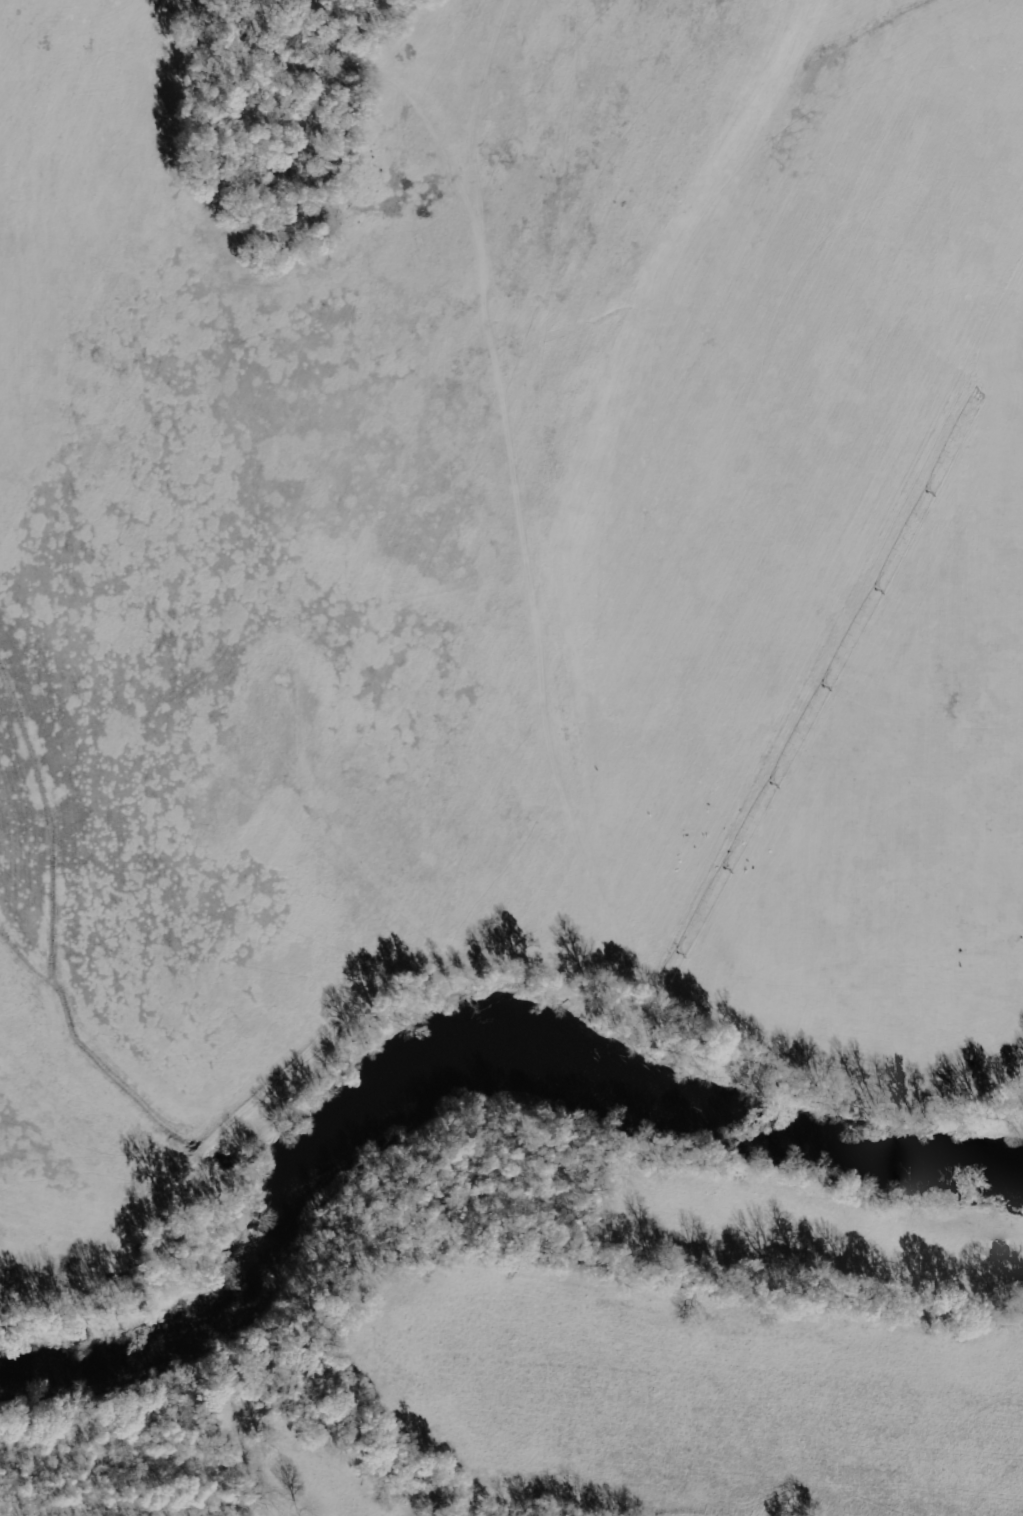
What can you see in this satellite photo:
river: (450, 1036)

